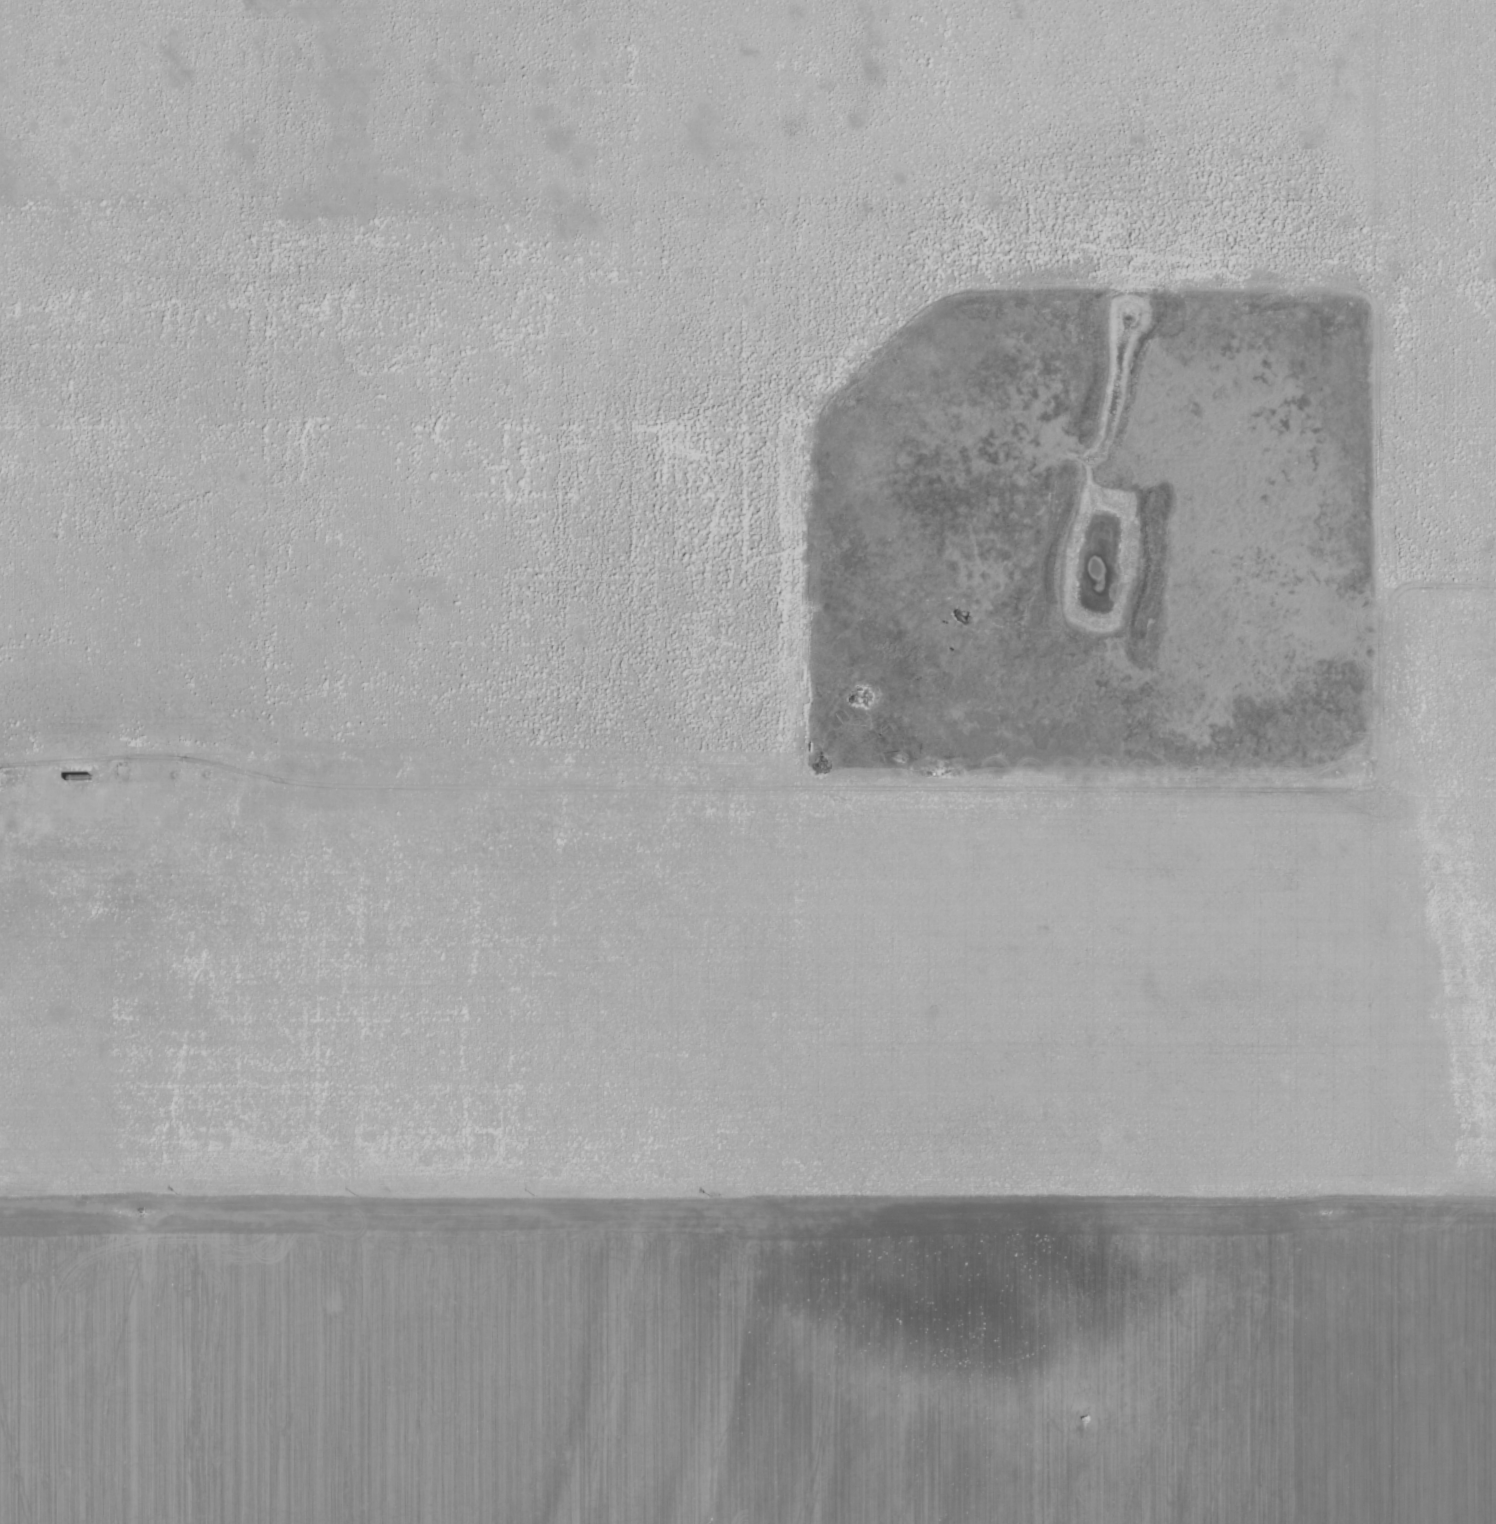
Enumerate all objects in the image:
road: (64, 1147)

